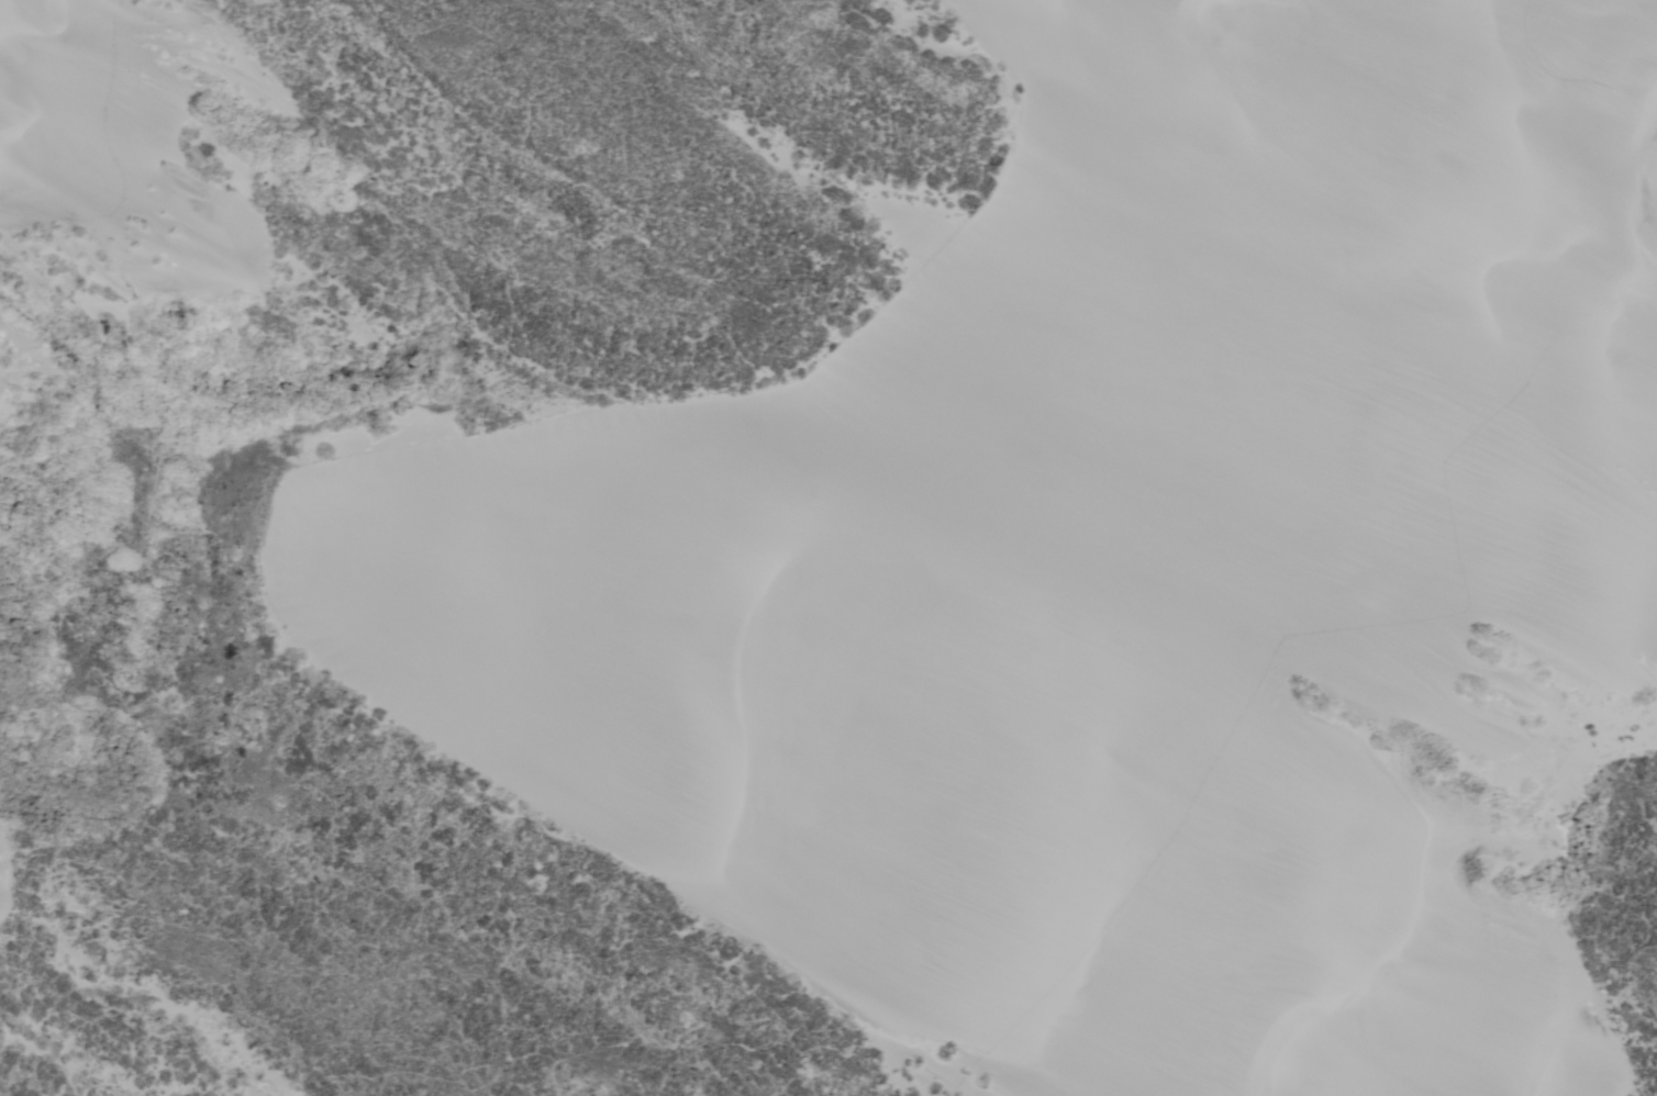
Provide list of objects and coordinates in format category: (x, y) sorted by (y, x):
road: (1255, 334)
park: (814, 537)

